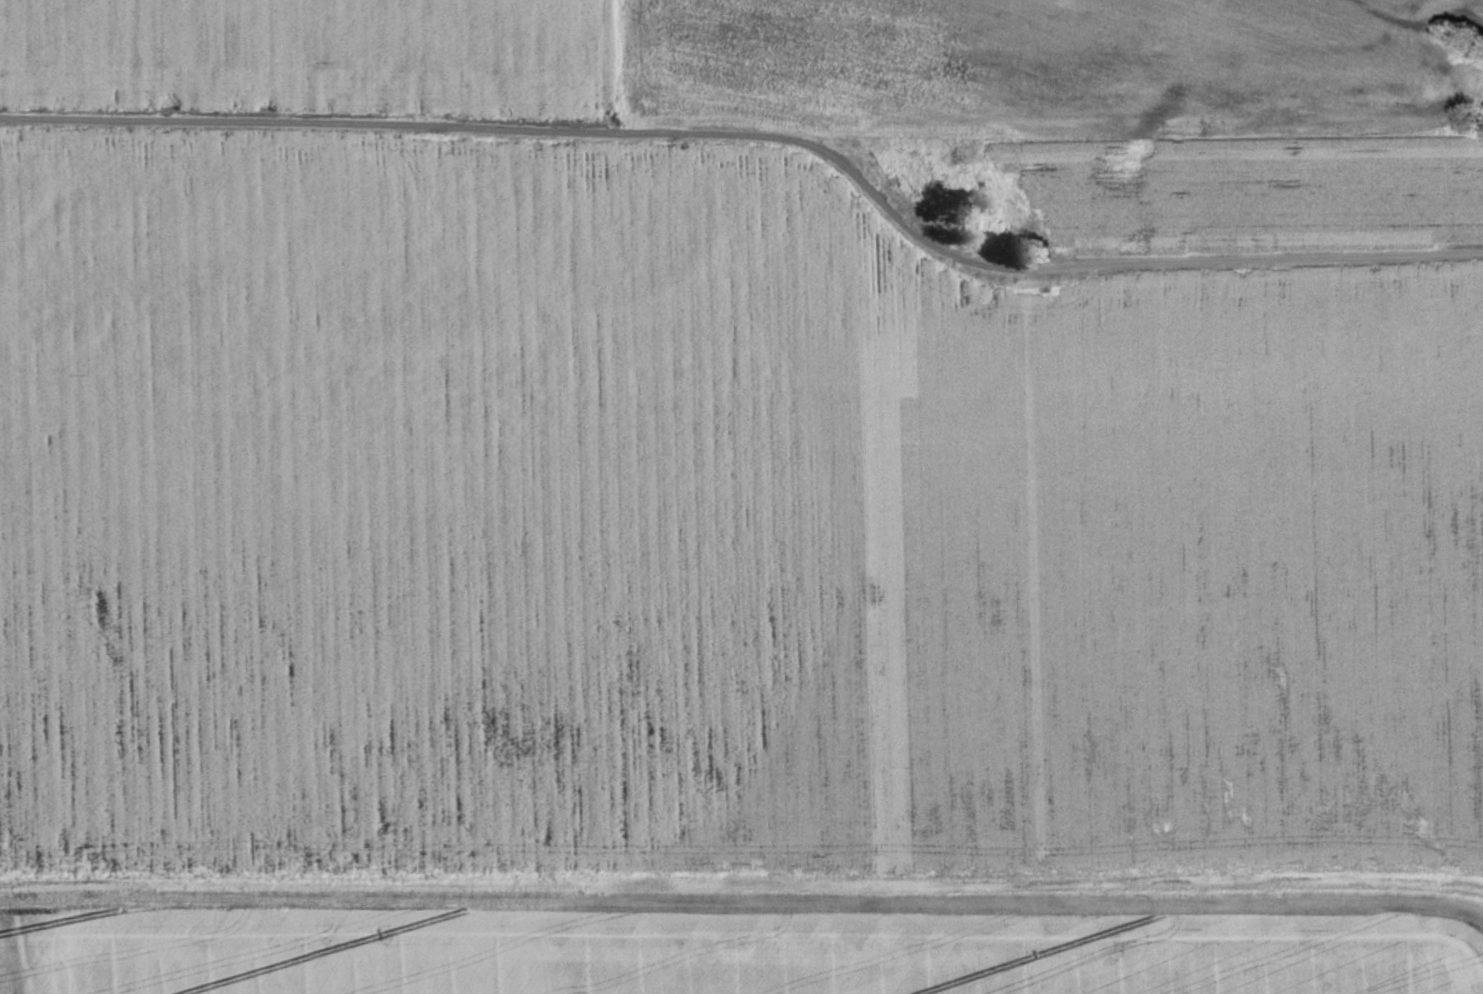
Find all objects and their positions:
road: (765, 127)

